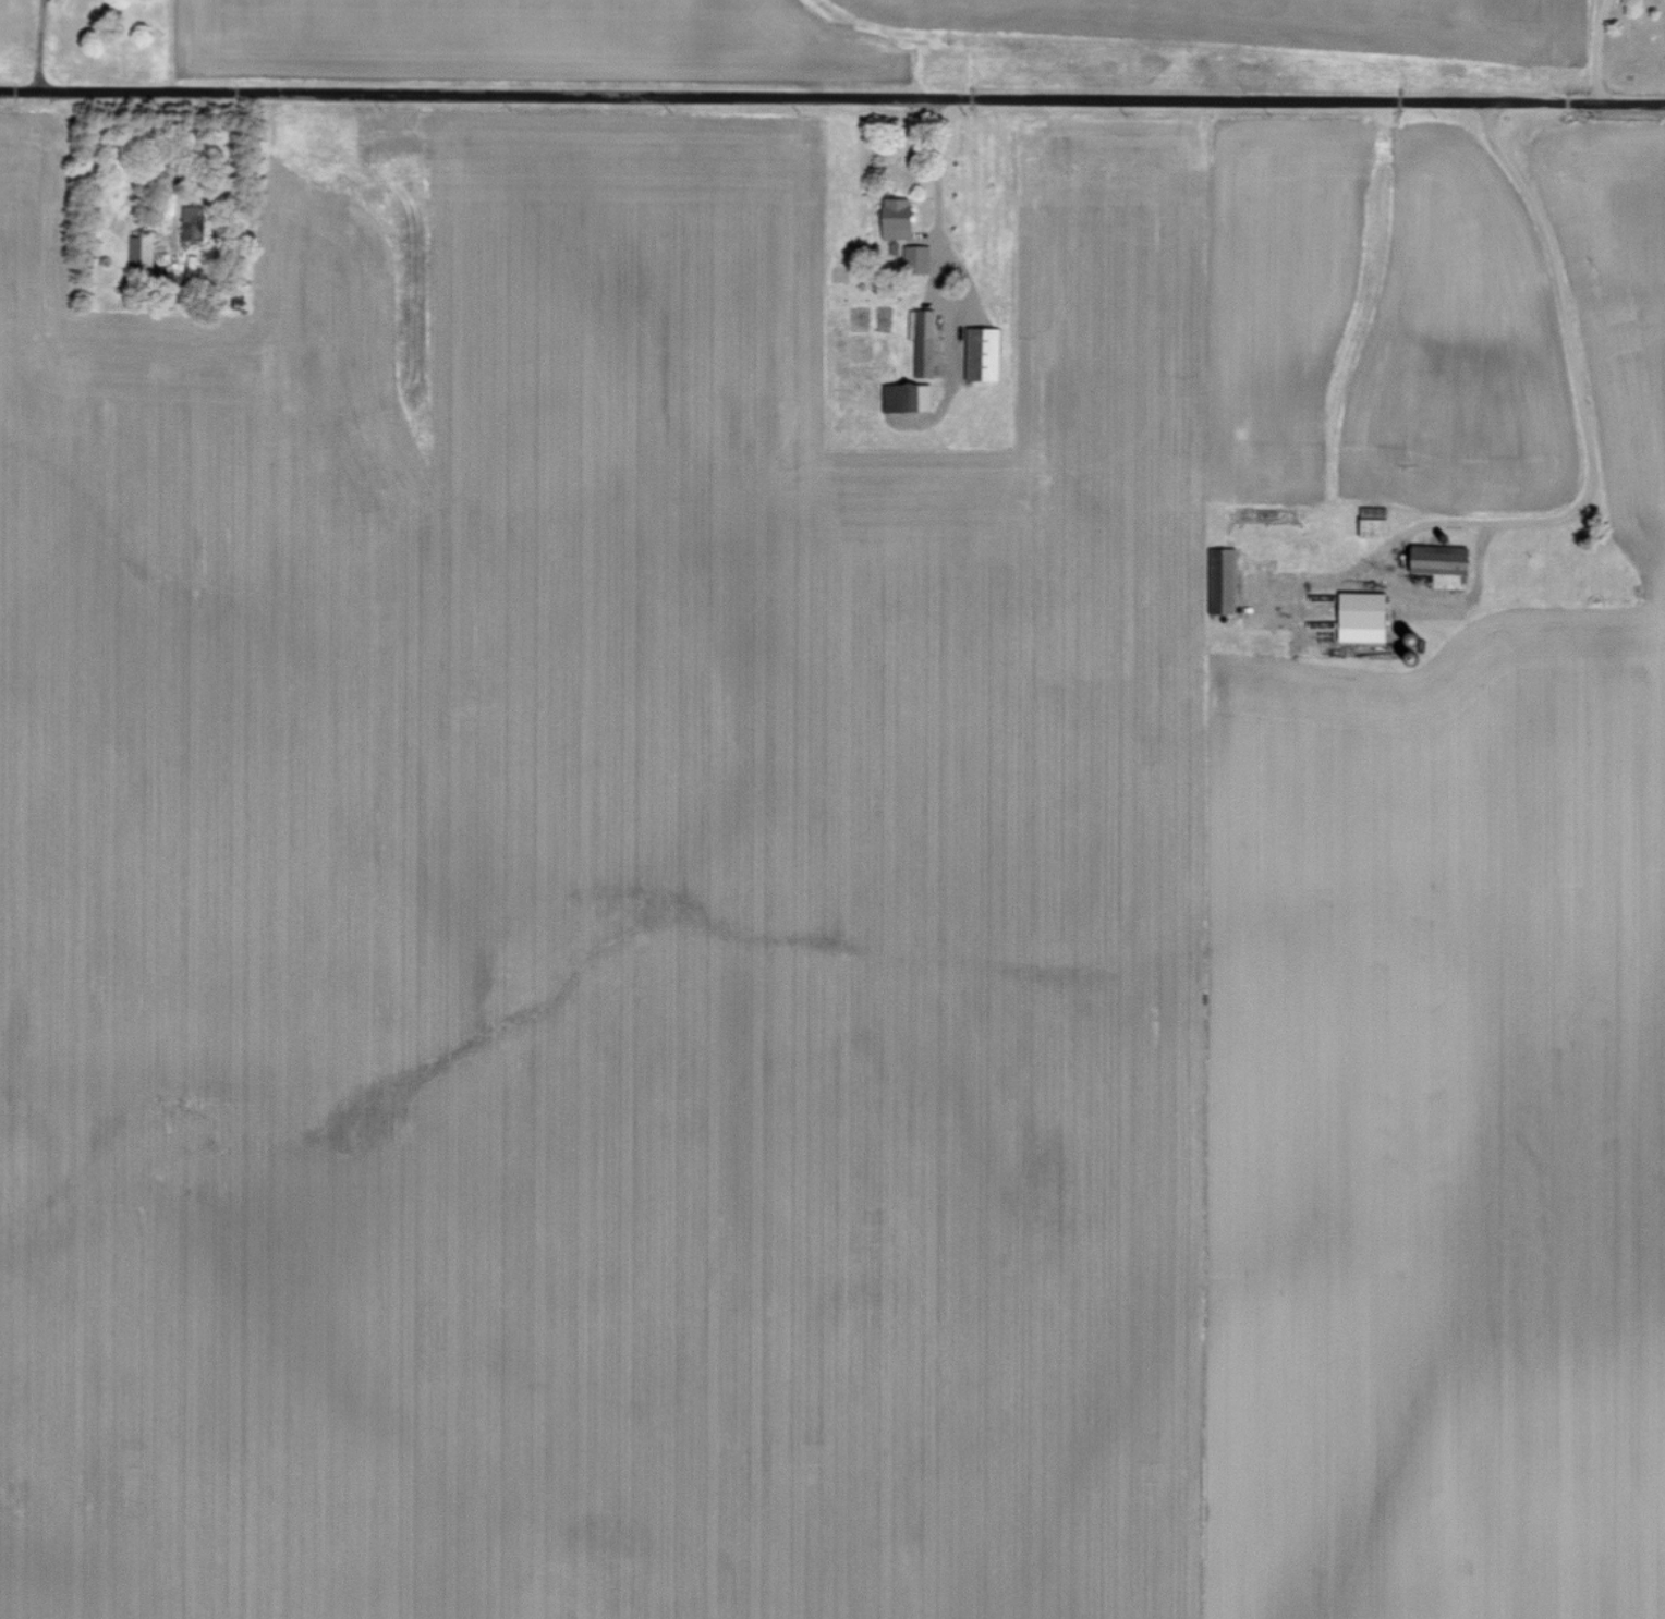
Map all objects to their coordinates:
road: (39, 44)
road: (1595, 50)
road: (832, 97)
road: (187, 159)
road: (936, 183)
building: (895, 220)
building: (136, 251)
building: (923, 342)
road: (1573, 352)
building: (982, 355)
building: (916, 397)
building: (1375, 523)
building: (1443, 564)
building: (1223, 580)
building: (1362, 616)

